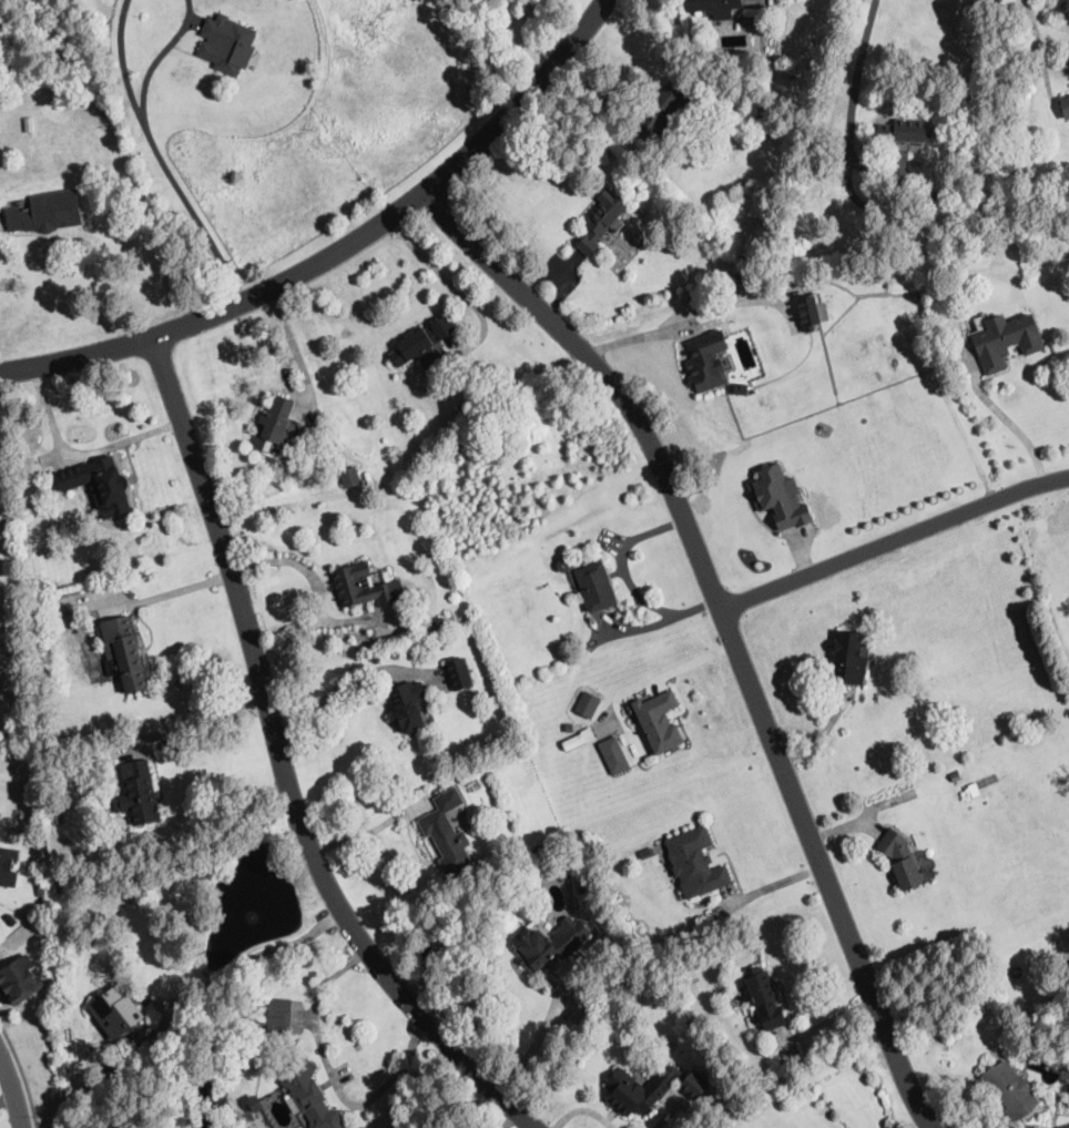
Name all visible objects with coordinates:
building: (713, 7)
building: (231, 45)
road: (1040, 54)
road: (156, 60)
road: (123, 67)
building: (765, 67)
road: (854, 82)
road: (521, 99)
building: (1065, 106)
building: (662, 109)
building: (904, 131)
building: (47, 213)
road: (195, 216)
building: (601, 221)
building: (741, 276)
building: (879, 276)
road: (454, 286)
road: (225, 309)
building: (812, 312)
road: (683, 315)
building: (1006, 341)
building: (421, 342)
road: (293, 346)
building: (706, 359)
building: (726, 360)
building: (893, 368)
building: (740, 387)
road: (1011, 423)
building: (274, 425)
road: (81, 453)
building: (350, 477)
building: (100, 485)
building: (780, 496)
road: (895, 540)
building: (562, 569)
building: (366, 587)
building: (597, 587)
road: (176, 590)
building: (440, 621)
road: (729, 627)
building: (123, 653)
building: (849, 660)
building: (459, 673)
road: (336, 685)
building: (409, 705)
building: (588, 705)
road: (201, 717)
building: (659, 721)
building: (570, 725)
building: (579, 738)
building: (613, 754)
road: (285, 764)
building: (956, 776)
building: (586, 784)
building: (138, 793)
building: (965, 794)
building: (0, 812)
building: (0, 815)
building: (57, 815)
road: (366, 832)
building: (448, 843)
building: (647, 853)
building: (695, 861)
building: (900, 861)
building: (7, 868)
building: (138, 875)
road: (773, 886)
building: (43, 888)
building: (613, 888)
building: (43, 927)
building: (550, 943)
road: (255, 955)
building: (284, 977)
building: (19, 978)
building: (763, 997)
building: (115, 1012)
building: (275, 1016)
road: (533, 1044)
building: (111, 1061)
road: (23, 1074)
road: (333, 1078)
building: (651, 1088)
road: (13, 1089)
building: (1010, 1089)
building: (308, 1094)
building: (1037, 1127)

